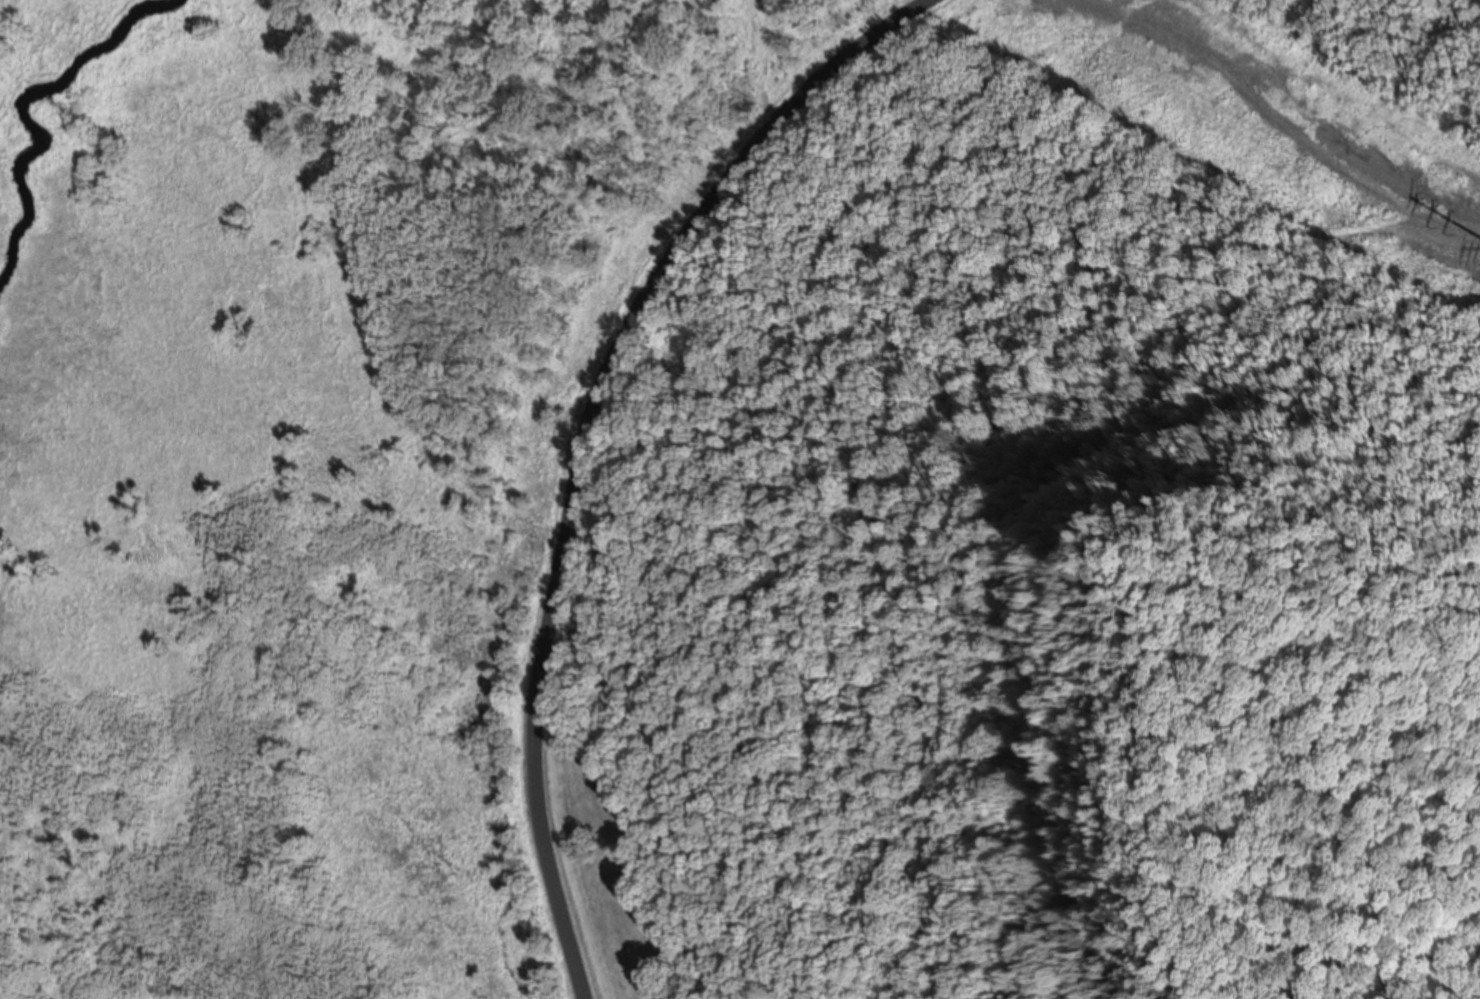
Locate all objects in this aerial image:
road: (577, 440)

